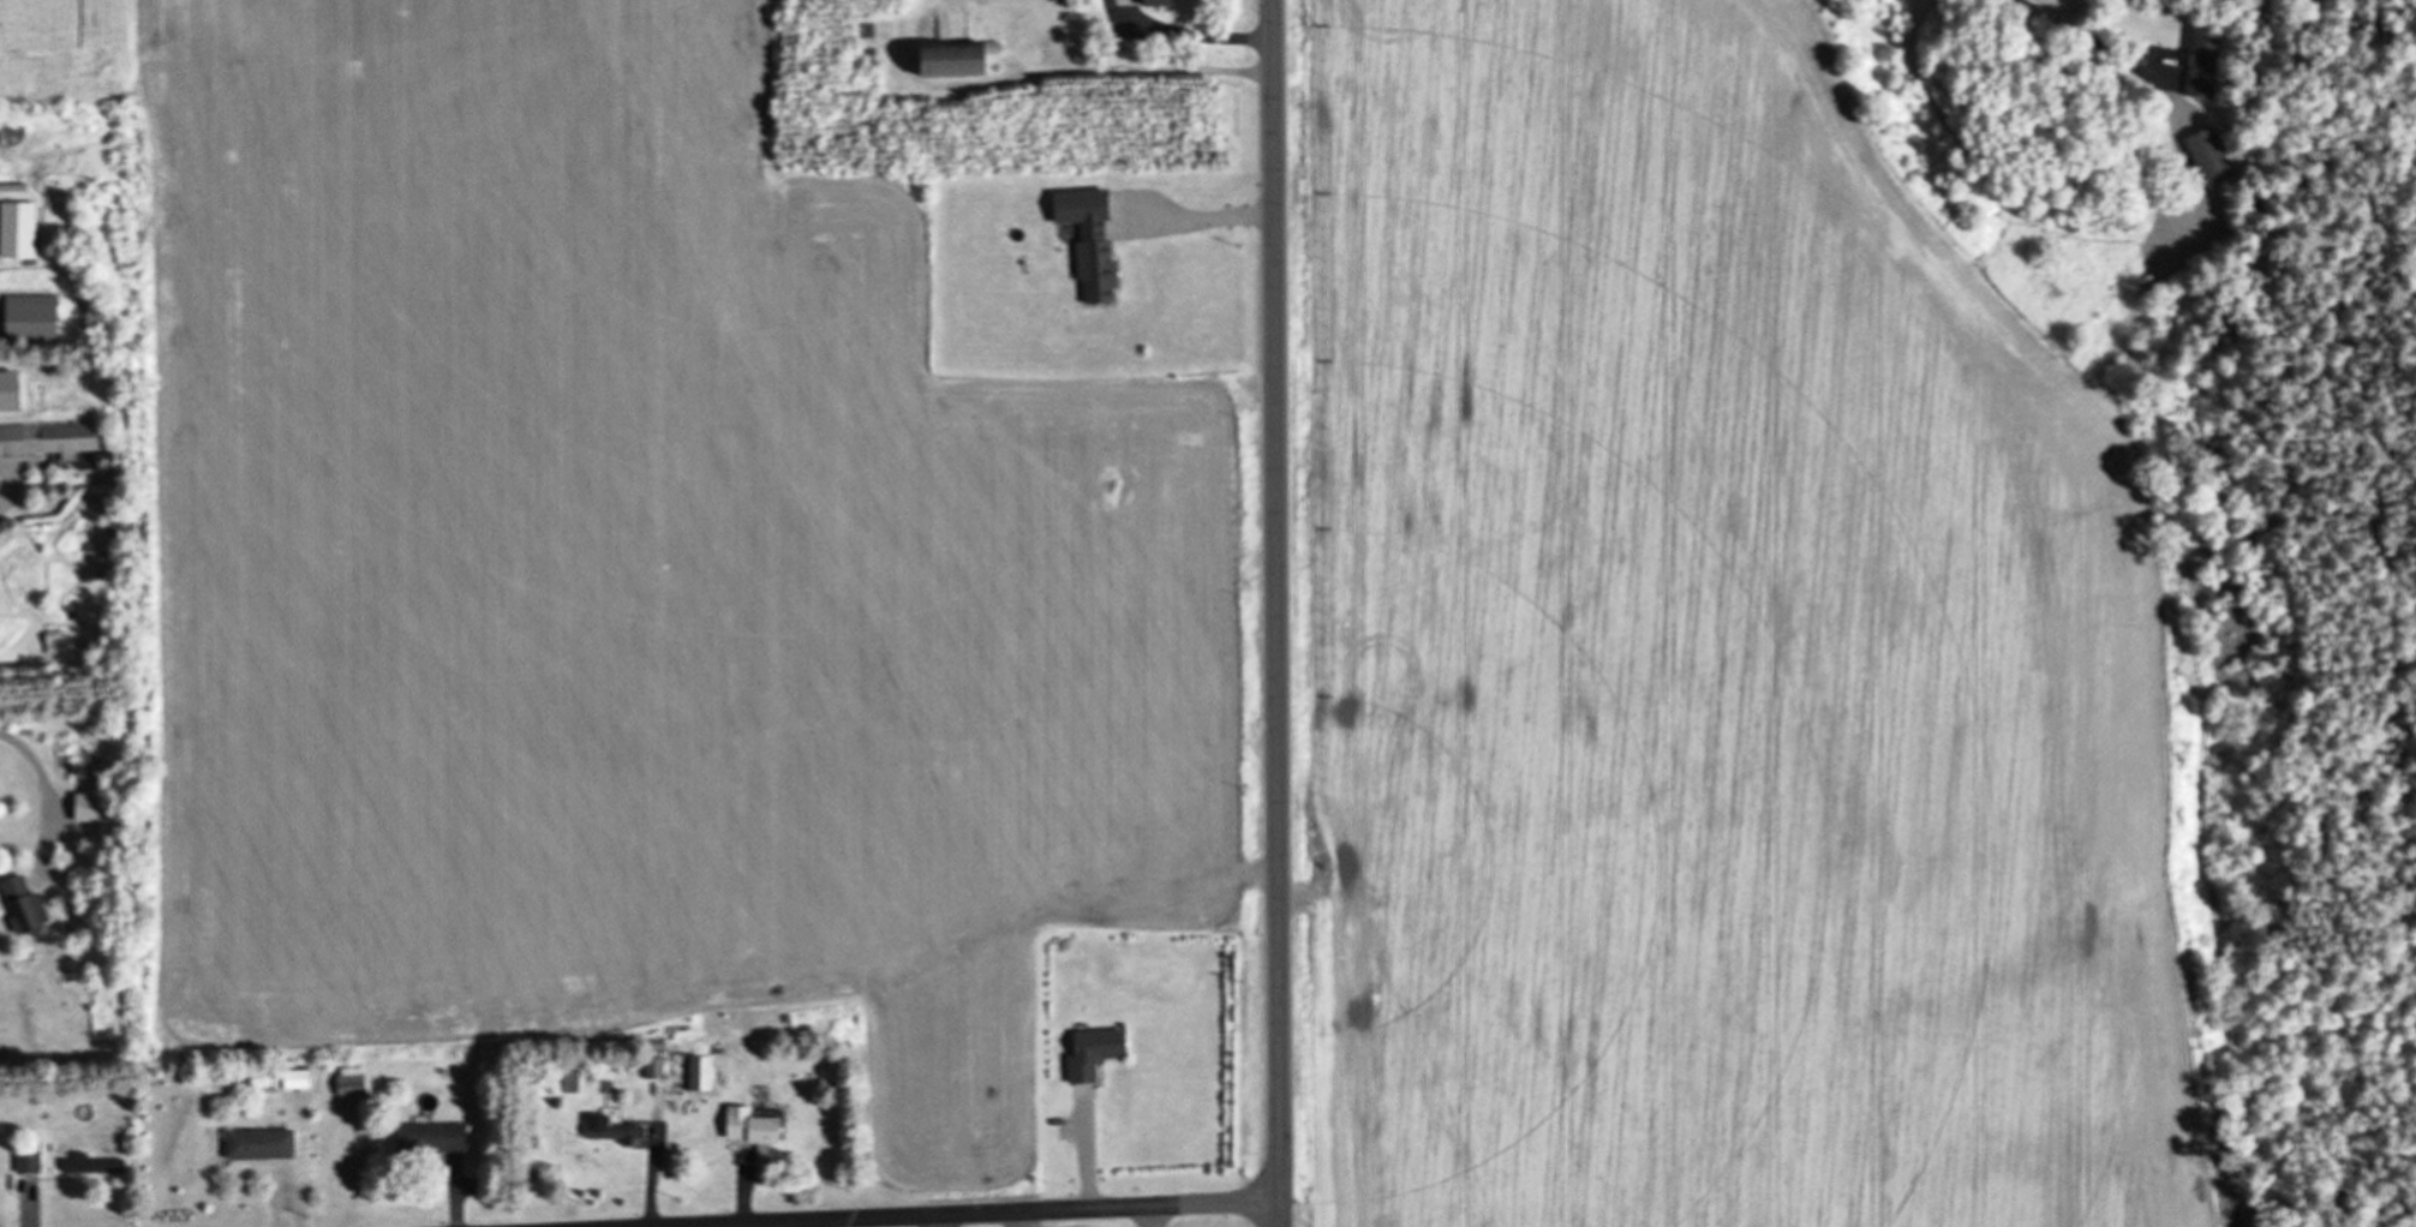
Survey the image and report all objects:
building: (1152, 2)
road: (2063, 23)
building: (946, 59)
building: (2201, 61)
building: (2207, 156)
road: (1201, 211)
building: (1087, 239)
building: (28, 316)
building: (48, 438)
building: (120, 523)
road: (1276, 613)
building: (52, 645)
road: (581, 701)
building: (86, 808)
building: (20, 905)
building: (1090, 1052)
building: (651, 1067)
building: (698, 1073)
building: (293, 1078)
building: (347, 1081)
building: (572, 1082)
building: (609, 1129)
building: (754, 1133)
building: (427, 1138)
building: (256, 1144)
building: (25, 1157)
building: (89, 1165)
road: (981, 1214)
park: (1134, 1216)

